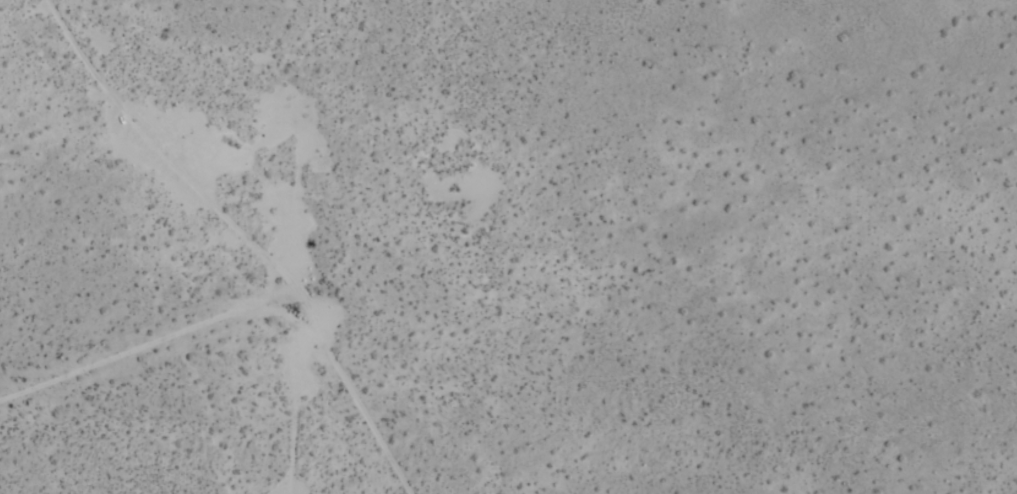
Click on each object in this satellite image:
road: (184, 158)
road: (370, 400)

